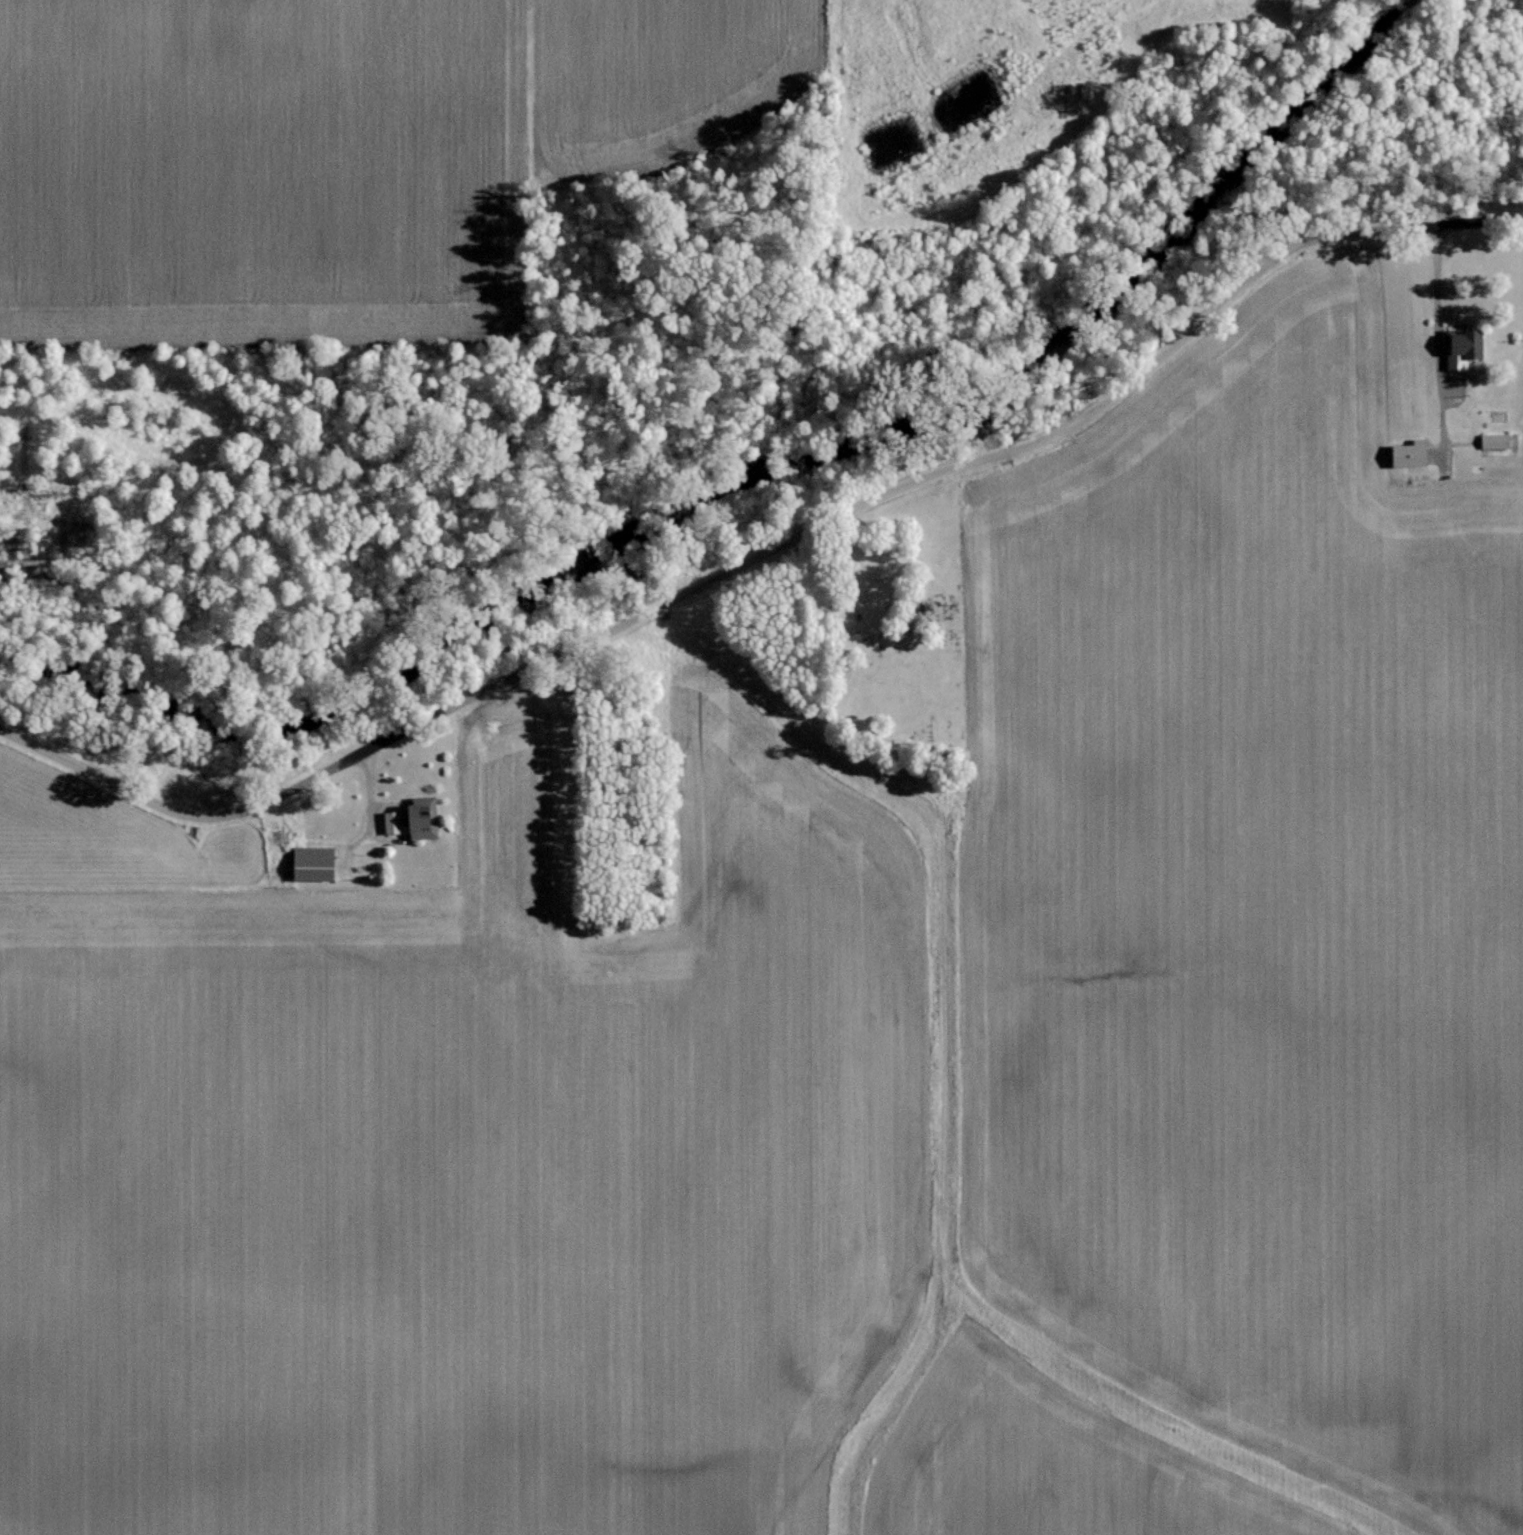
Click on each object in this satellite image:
building: (1461, 343)
building: (1493, 440)
building: (1406, 453)
river: (746, 454)
road: (767, 548)
building: (411, 818)
building: (309, 863)

